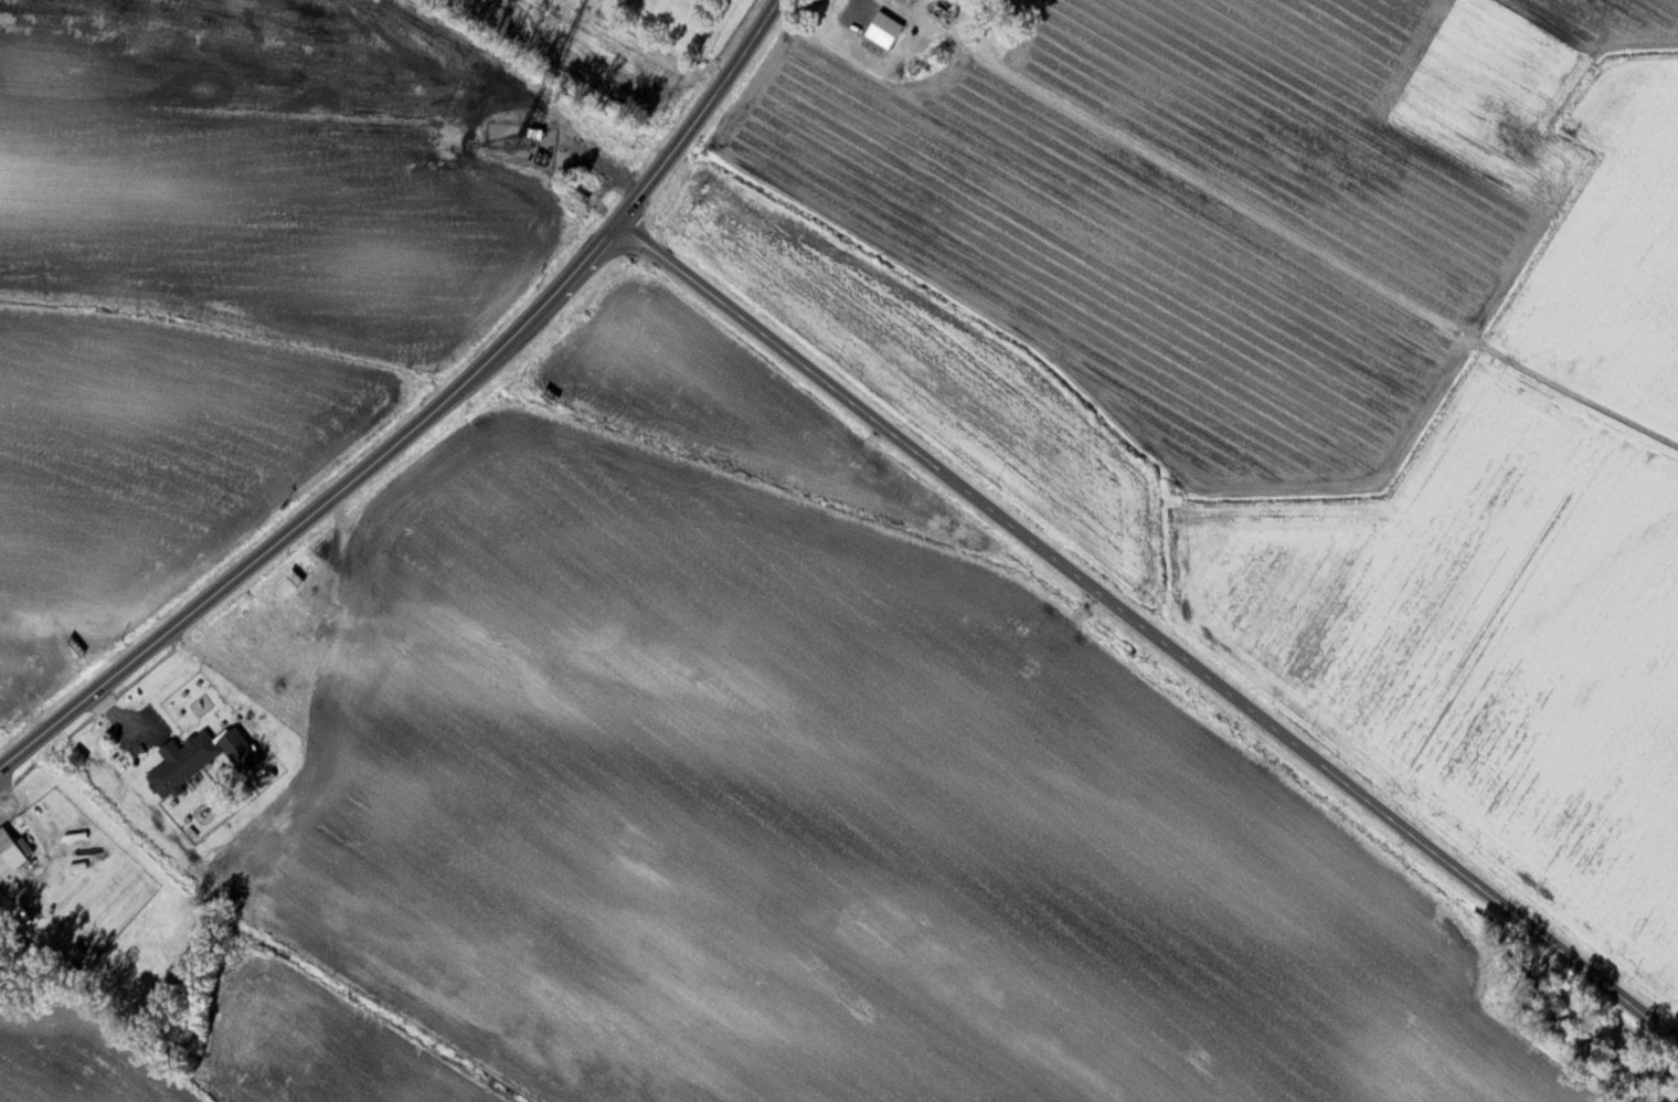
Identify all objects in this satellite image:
building: (914, 52)
road: (423, 416)
road: (1147, 628)
building: (181, 761)
building: (9, 851)

